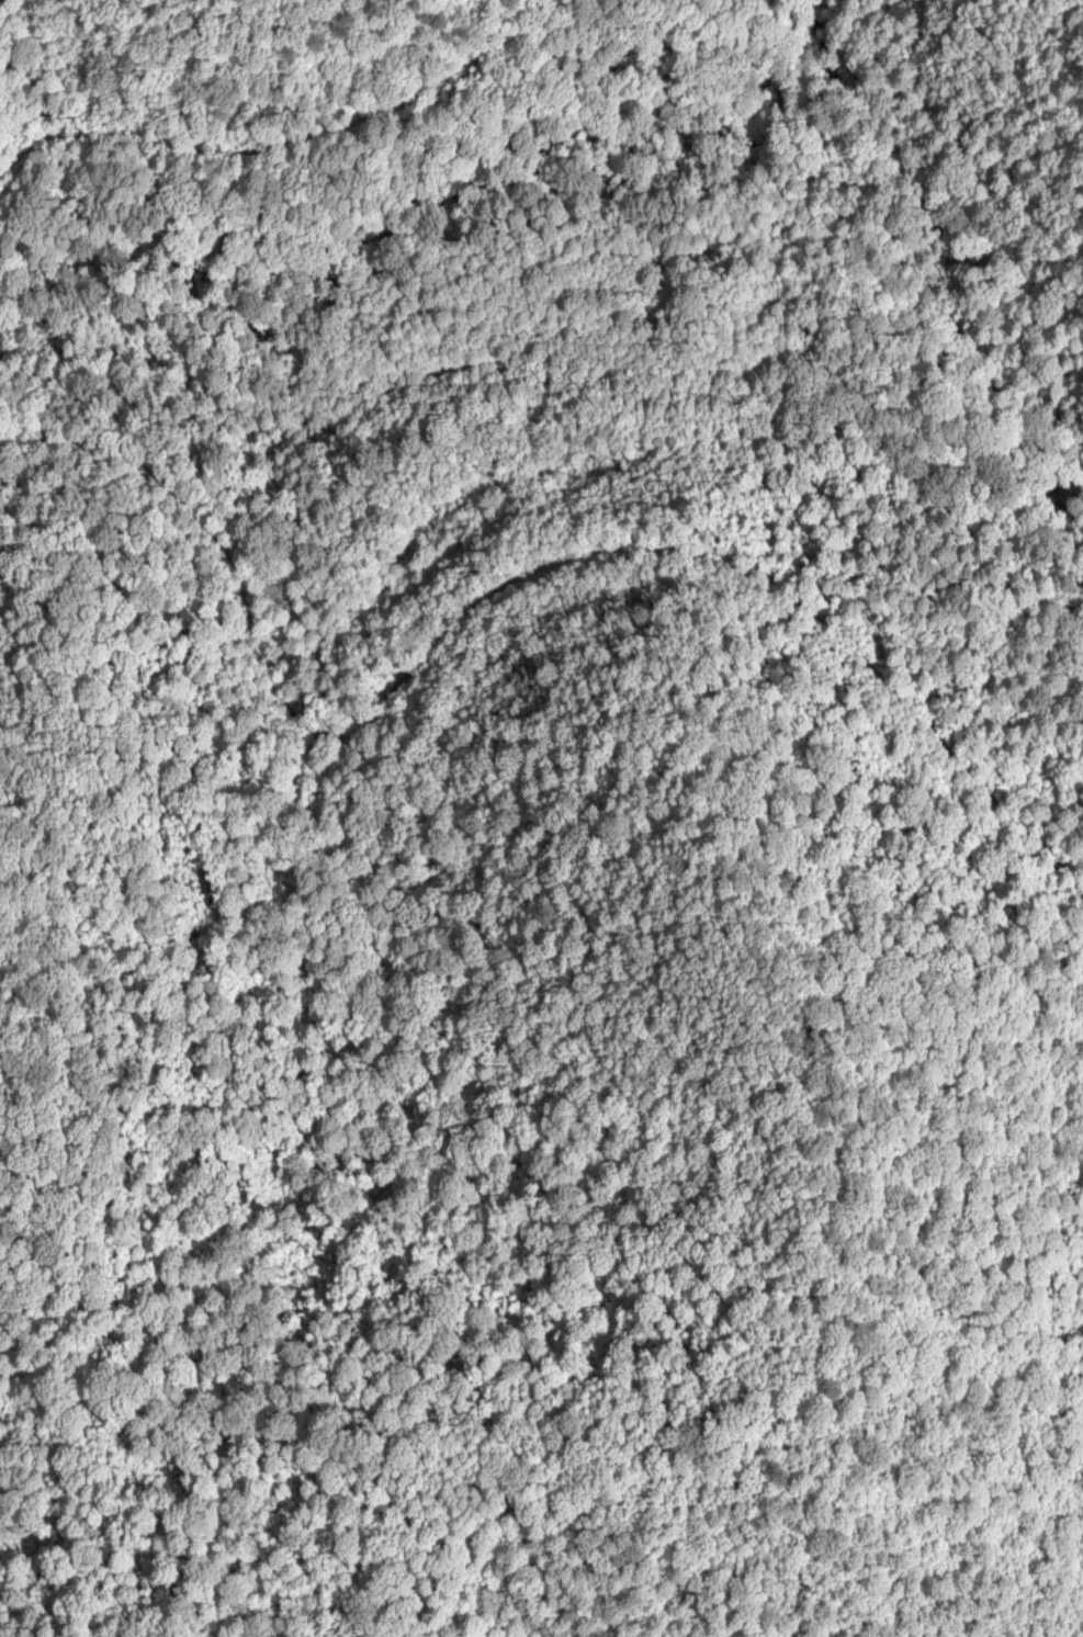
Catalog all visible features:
road: (301, 138)
road: (515, 585)

